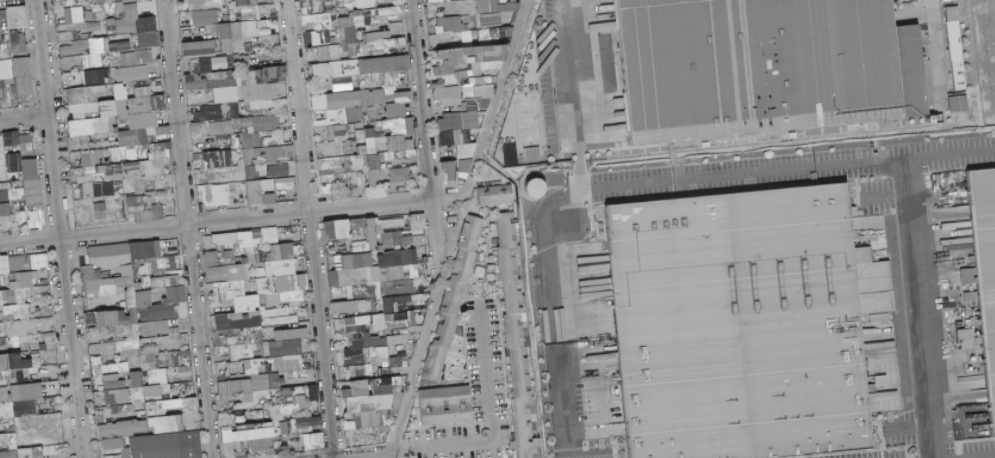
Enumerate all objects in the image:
building: (131, 0)
building: (100, 1)
building: (198, 1)
building: (437, 1)
building: (255, 2)
building: (499, 6)
building: (458, 7)
building: (391, 8)
building: (265, 10)
building: (206, 17)
building: (126, 21)
building: (492, 21)
building: (17, 23)
building: (332, 23)
building: (451, 24)
building: (78, 25)
building: (240, 32)
building: (500, 32)
building: (149, 39)
building: (108, 45)
building: (399, 45)
building: (73, 47)
building: (200, 48)
building: (957, 48)
building: (329, 53)
power substation: (985, 55)
road: (929, 56)
building: (137, 57)
building: (768, 63)
building: (473, 66)
building: (361, 68)
building: (5, 69)
building: (132, 73)
building: (279, 73)
building: (96, 77)
building: (25, 82)
building: (235, 86)
road: (566, 96)
road: (423, 99)
building: (148, 101)
building: (959, 103)
building: (401, 104)
building: (340, 107)
building: (210, 112)
building: (104, 115)
building: (145, 119)
building: (248, 123)
building: (268, 123)
building: (399, 125)
building: (223, 127)
building: (200, 130)
building: (340, 130)
building: (141, 135)
building: (260, 140)
building: (24, 142)
building: (403, 143)
building: (459, 144)
building: (279, 152)
building: (534, 154)
building: (399, 155)
building: (93, 158)
building: (218, 159)
parking lot: (787, 165)
building: (279, 170)
building: (252, 172)
building: (452, 173)
building: (401, 175)
building: (332, 182)
building: (548, 184)
building: (105, 189)
building: (26, 190)
building: (263, 192)
building: (497, 195)
building: (101, 211)
building: (159, 211)
building: (420, 222)
building: (396, 223)
road: (57, 229)
road: (186, 229)
road: (306, 229)
building: (339, 229)
building: (384, 234)
building: (271, 235)
building: (985, 252)
building: (23, 263)
building: (5, 265)
building: (356, 270)
building: (415, 272)
building: (283, 276)
building: (25, 286)
building: (133, 286)
building: (397, 303)
building: (346, 307)
building: (453, 307)
building: (401, 319)
building: (748, 324)
building: (157, 328)
building: (367, 331)
building: (246, 333)
building: (400, 339)
building: (519, 340)
building: (24, 343)
building: (286, 347)
building: (382, 354)
building: (355, 356)
building: (399, 360)
building: (19, 362)
building: (154, 365)
building: (111, 372)
building: (358, 372)
building: (154, 390)
building: (129, 391)
building: (315, 393)
building: (26, 402)

